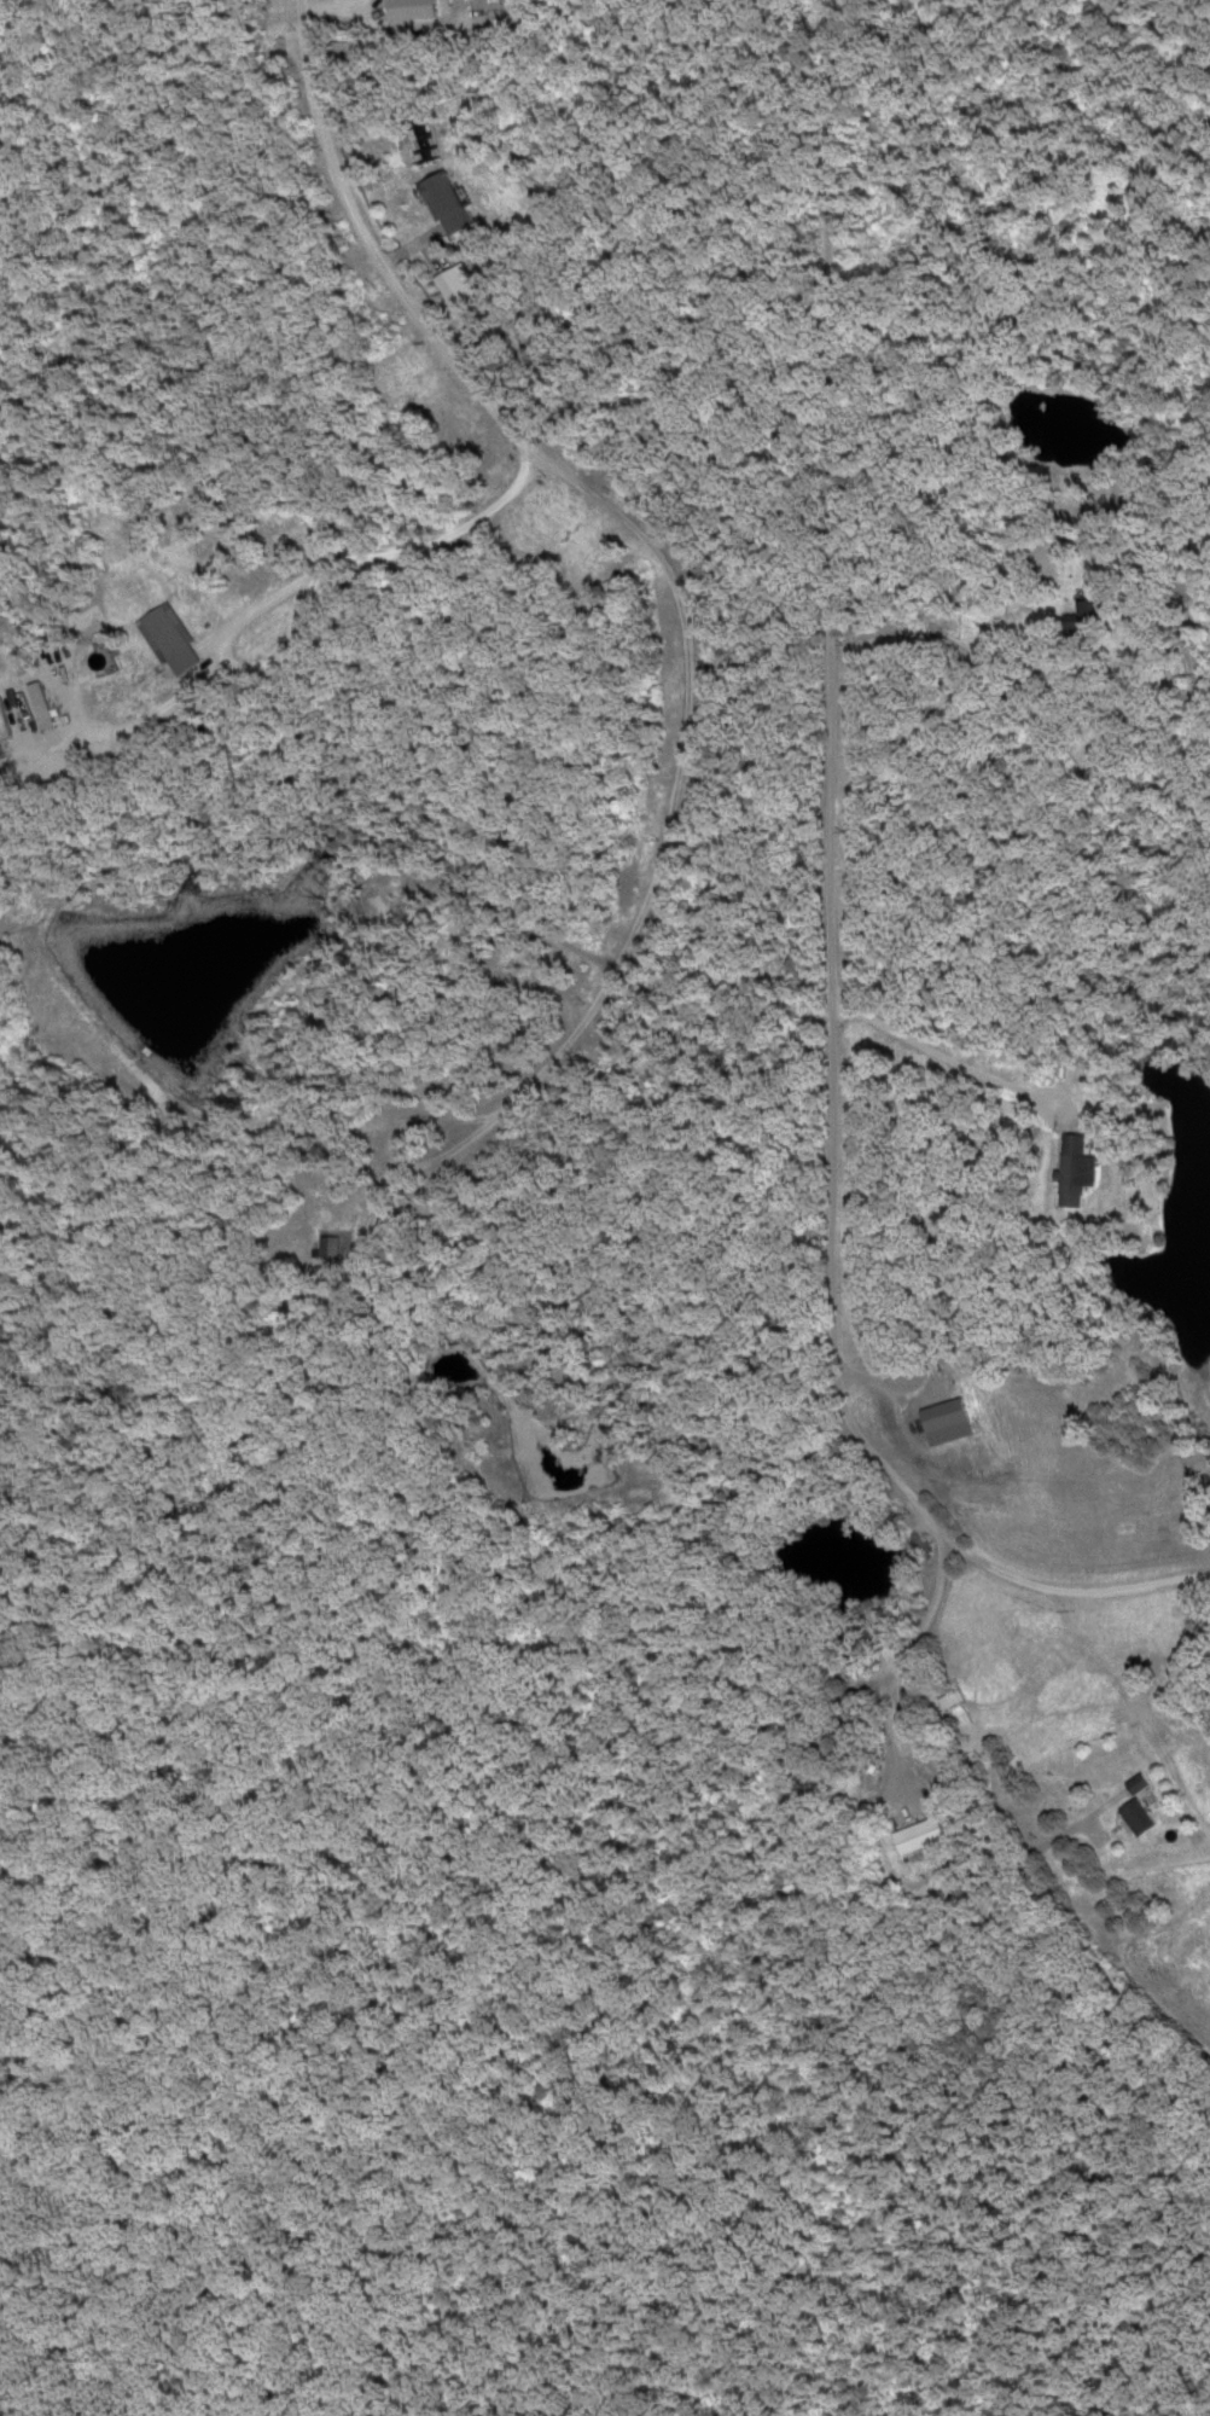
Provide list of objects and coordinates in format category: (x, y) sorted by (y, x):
building: (450, 205)
road: (441, 331)
road: (299, 581)
building: (1098, 610)
building: (173, 641)
road: (822, 692)
road: (619, 965)
building: (1081, 1172)
building: (948, 1423)
road: (1026, 1493)
building: (953, 1701)
road: (954, 1769)
building: (1140, 1817)
building: (921, 1835)

